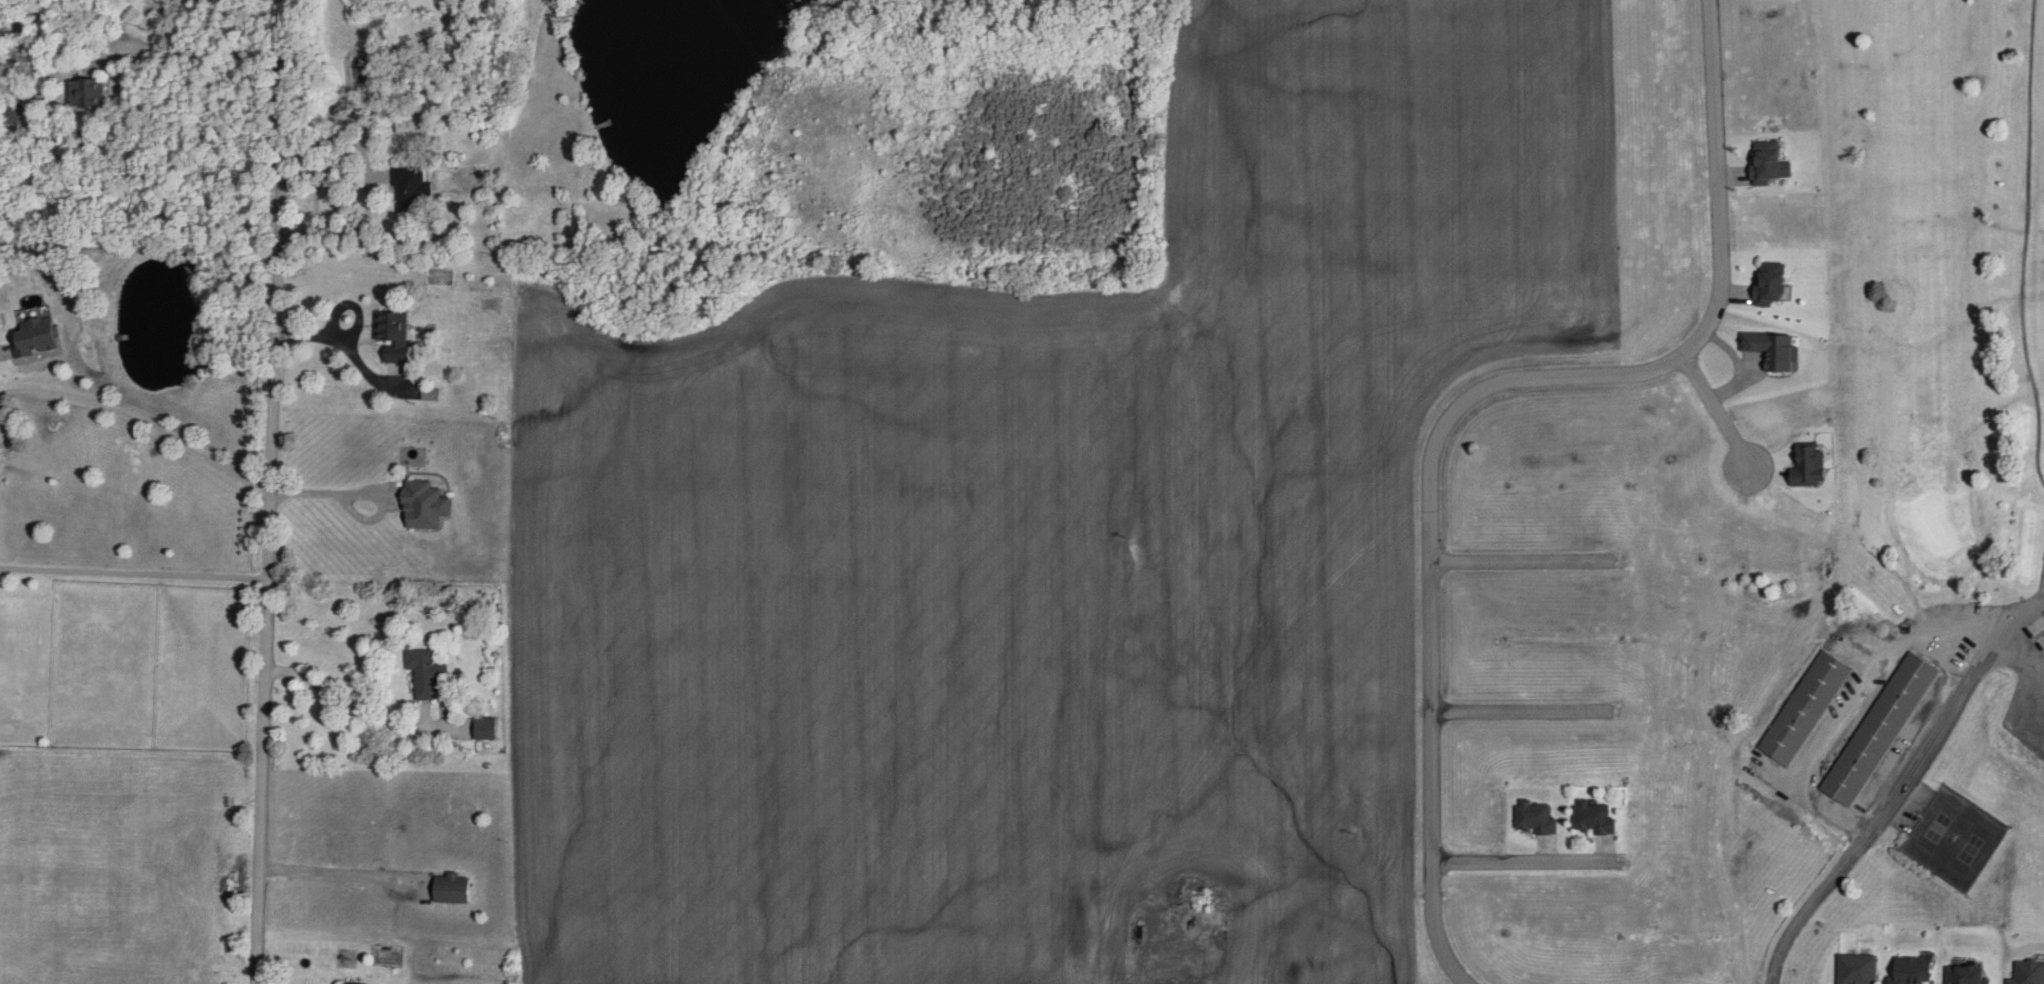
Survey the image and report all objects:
building: (86, 93)
building: (410, 122)
building: (410, 187)
building: (1768, 283)
building: (392, 336)
building: (34, 337)
road: (1466, 405)
road: (260, 492)
road: (350, 494)
building: (422, 506)
park: (1906, 514)
crop: (1051, 546)
building: (424, 672)
road: (148, 676)
building: (1805, 708)
building: (487, 727)
building: (1879, 729)
building: (1534, 817)
road: (1876, 825)
building: (450, 887)
building: (1857, 969)
building: (1910, 970)
building: (2028, 972)
building: (1966, 974)
building: (353, 982)

